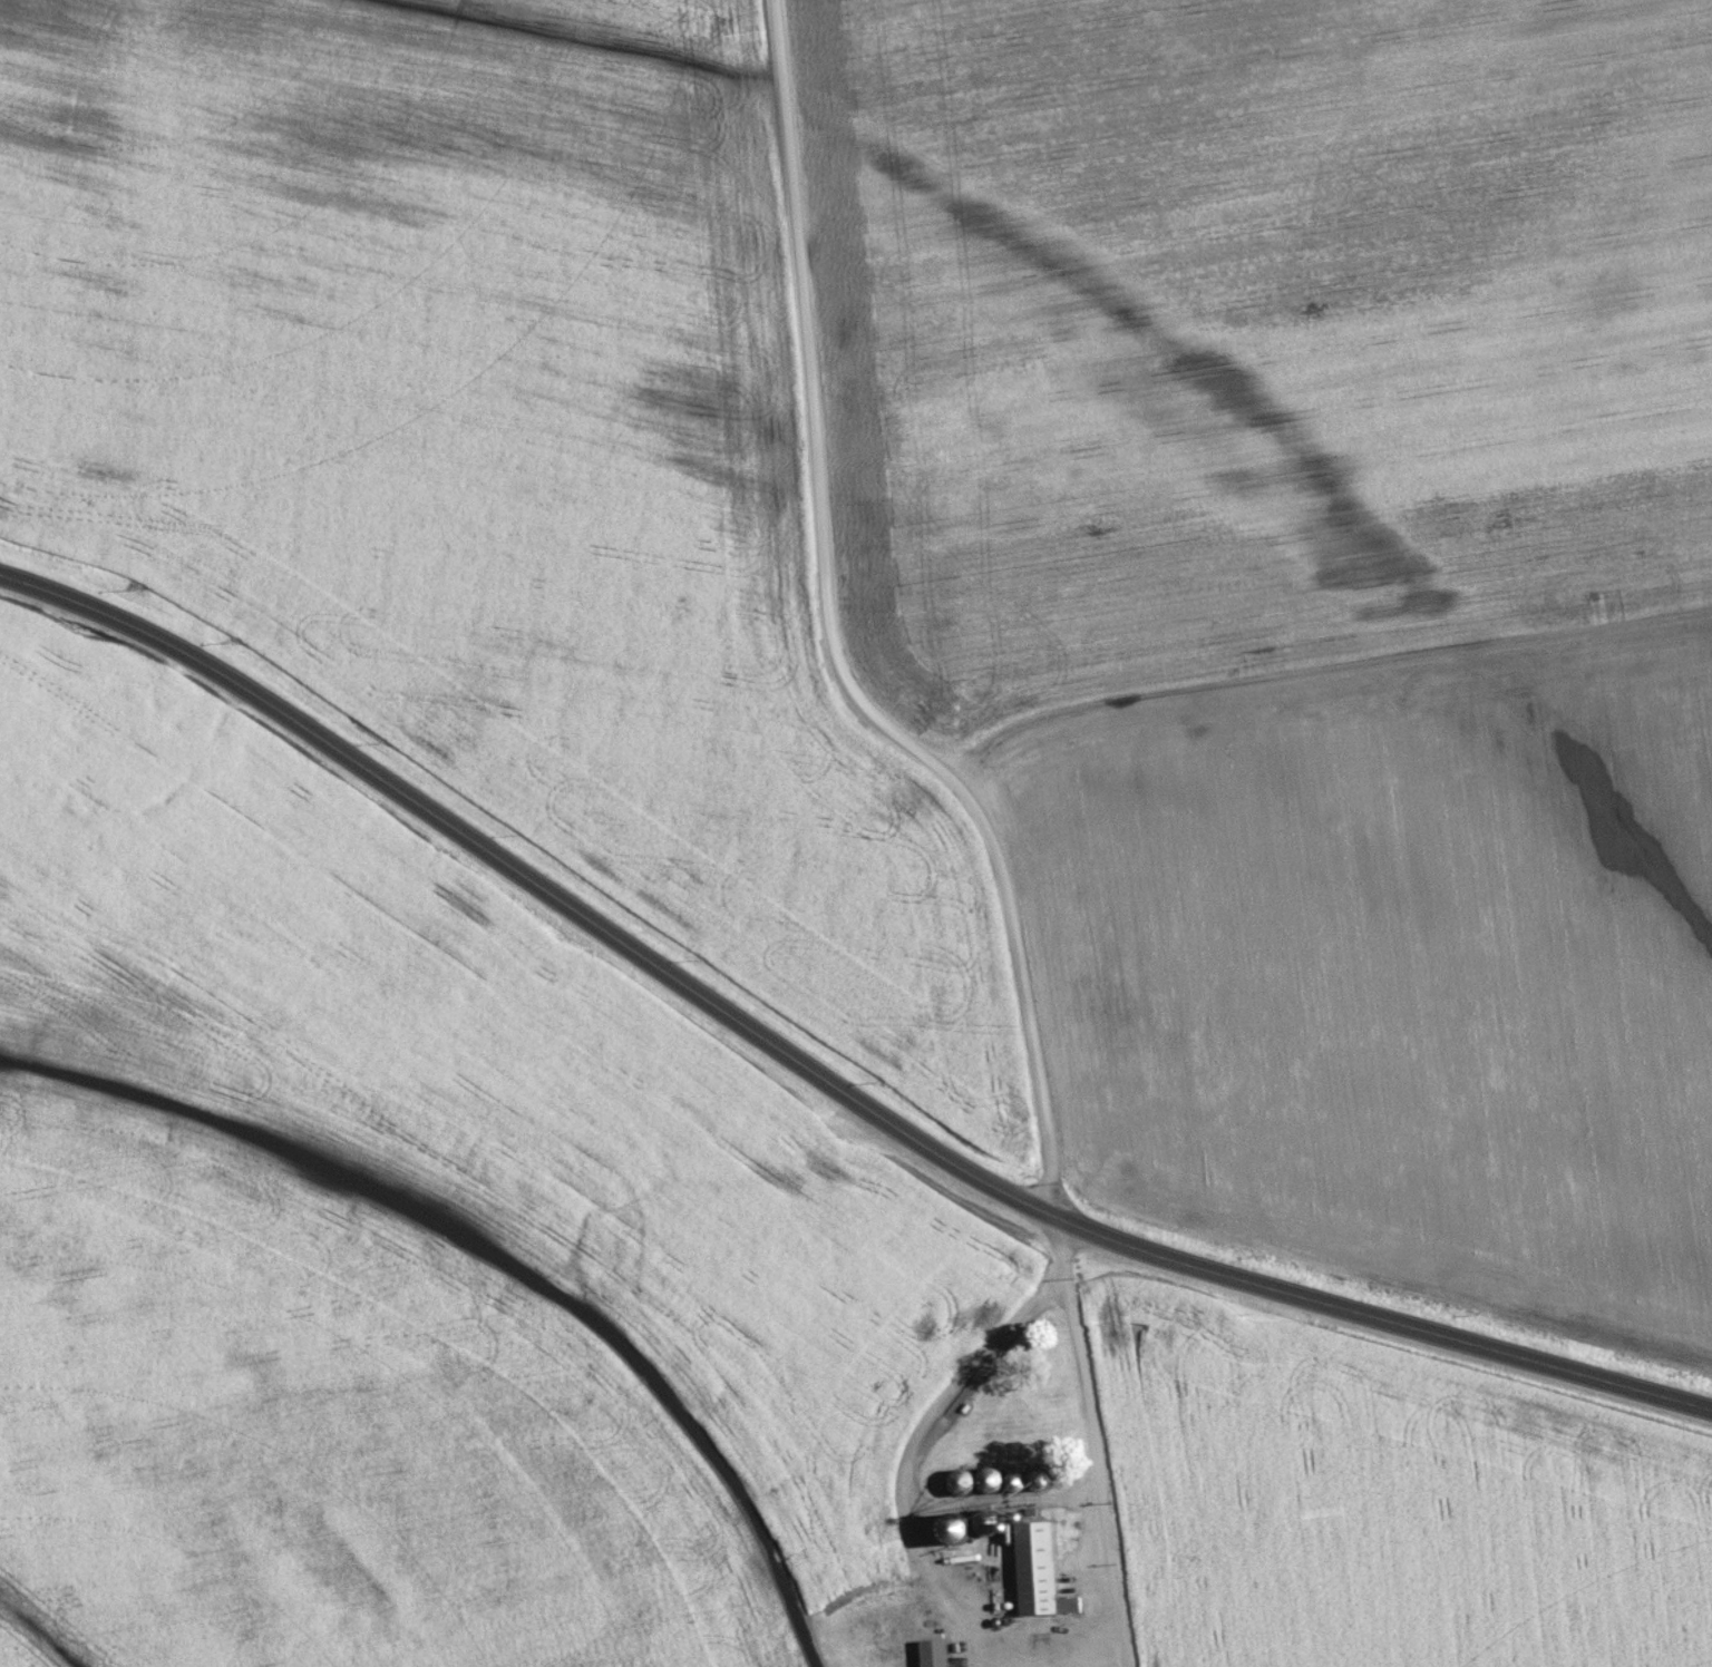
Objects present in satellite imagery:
road: (833, 647)
road: (817, 1073)
road: (957, 1375)
road: (1092, 1442)
building: (972, 1483)
road: (1034, 1493)
building: (1043, 1571)
road: (984, 1616)
building: (940, 1653)

